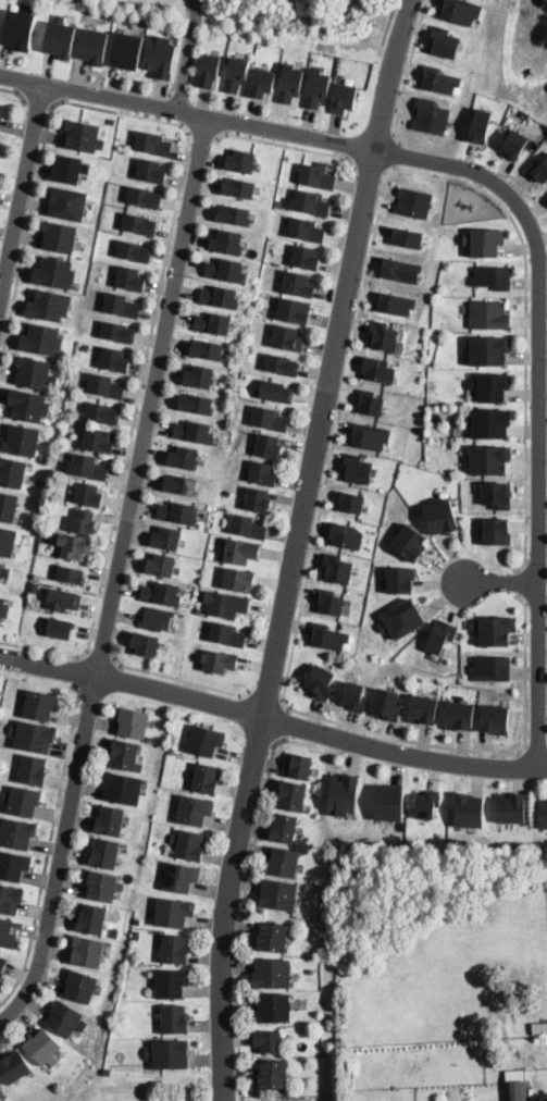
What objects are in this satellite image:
building: (460, 11)
building: (20, 29)
building: (61, 38)
building: (444, 42)
building: (94, 47)
building: (127, 51)
road: (181, 53)
building: (161, 55)
road: (188, 55)
building: (209, 70)
road: (409, 72)
road: (391, 74)
building: (236, 75)
building: (438, 79)
building: (262, 84)
building: (290, 84)
building: (316, 89)
road: (16, 92)
building: (345, 99)
road: (39, 103)
building: (3, 113)
road: (187, 113)
building: (430, 115)
building: (112, 123)
building: (481, 125)
road: (203, 134)
building: (84, 137)
building: (514, 144)
building: (0, 145)
building: (152, 145)
road: (289, 147)
road: (397, 152)
building: (240, 161)
building: (71, 169)
building: (538, 170)
road: (371, 171)
building: (151, 172)
building: (316, 176)
building: (238, 188)
road: (22, 197)
building: (144, 198)
building: (413, 201)
building: (69, 202)
building: (310, 205)
building: (234, 215)
building: (139, 225)
building: (306, 231)
road: (171, 233)
building: (60, 235)
building: (407, 236)
building: (485, 240)
building: (227, 243)
building: (134, 251)
building: (304, 259)
building: (400, 270)
building: (226, 271)
building: (55, 272)
building: (493, 276)
building: (129, 280)
building: (298, 285)
building: (220, 297)
building: (395, 302)
building: (49, 305)
building: (121, 306)
building: (294, 311)
building: (488, 313)
building: (213, 323)
building: (119, 333)
road: (527, 333)
building: (383, 335)
building: (41, 337)
building: (287, 338)
building: (86, 347)
building: (207, 348)
building: (489, 349)
building: (114, 360)
building: (282, 366)
building: (378, 369)
building: (35, 372)
building: (199, 378)
building: (492, 386)
building: (104, 387)
building: (275, 391)
building: (369, 403)
building: (28, 405)
building: (197, 405)
building: (241, 405)
road: (540, 406)
building: (102, 413)
building: (270, 419)
building: (489, 422)
building: (194, 432)
building: (369, 435)
building: (98, 441)
building: (22, 442)
building: (268, 447)
building: (183, 458)
building: (488, 459)
building: (87, 468)
building: (357, 469)
building: (12, 471)
building: (262, 473)
building: (181, 485)
building: (496, 494)
building: (88, 495)
building: (257, 500)
building: (350, 502)
building: (8, 506)
building: (177, 512)
building: (442, 517)
building: (84, 523)
building: (247, 528)
building: (496, 531)
building: (345, 535)
building: (166, 540)
building: (8, 541)
building: (411, 542)
building: (75, 547)
building: (239, 552)
building: (161, 566)
building: (4, 569)
building: (337, 569)
building: (38, 576)
building: (71, 576)
road: (117, 576)
building: (401, 579)
building: (238, 580)
road: (521, 583)
road: (504, 584)
building: (161, 595)
building: (63, 599)
building: (331, 602)
building: (225, 604)
building: (3, 608)
building: (157, 619)
building: (402, 619)
road: (284, 623)
building: (60, 629)
building: (494, 629)
road: (297, 630)
building: (227, 635)
building: (442, 636)
building: (331, 638)
building: (144, 644)
road: (99, 658)
building: (220, 661)
building: (490, 667)
road: (76, 672)
road: (181, 681)
building: (320, 681)
building: (353, 694)
road: (266, 696)
building: (387, 704)
building: (40, 705)
building: (423, 708)
building: (459, 715)
building: (495, 719)
road: (272, 720)
building: (132, 722)
road: (284, 722)
building: (34, 738)
building: (204, 741)
building: (126, 756)
building: (299, 767)
building: (34, 771)
building: (207, 779)
building: (123, 789)
building: (344, 795)
building: (293, 796)
building: (23, 801)
building: (389, 802)
building: (427, 803)
building: (511, 807)
building: (195, 809)
building: (469, 809)
building: (543, 815)
building: (110, 821)
building: (284, 829)
building: (17, 833)
building: (189, 845)
road: (50, 846)
building: (104, 854)
building: (284, 863)
building: (13, 866)
building: (181, 878)
building: (102, 886)
building: (278, 895)
building: (10, 899)
building: (173, 913)
road: (243, 914)
building: (91, 919)
building: (115, 931)
building: (7, 933)
building: (137, 936)
building: (272, 938)
building: (174, 949)
building: (88, 952)
building: (318, 952)
building: (3, 966)
building: (272, 975)
building: (172, 985)
building: (80, 987)
building: (274, 1010)
building: (66, 1019)
building: (175, 1019)
building: (539, 1027)
building: (269, 1042)
building: (42, 1048)
building: (169, 1055)
building: (14, 1067)
building: (107, 1071)
building: (514, 1073)
building: (272, 1075)
building: (515, 1089)
building: (162, 1098)

